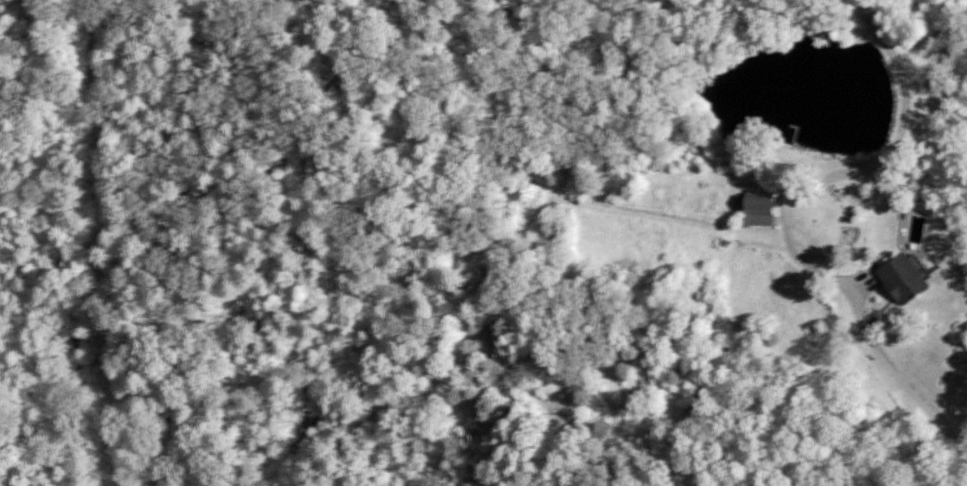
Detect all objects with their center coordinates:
building: (756, 208)
building: (904, 279)
road: (897, 376)

